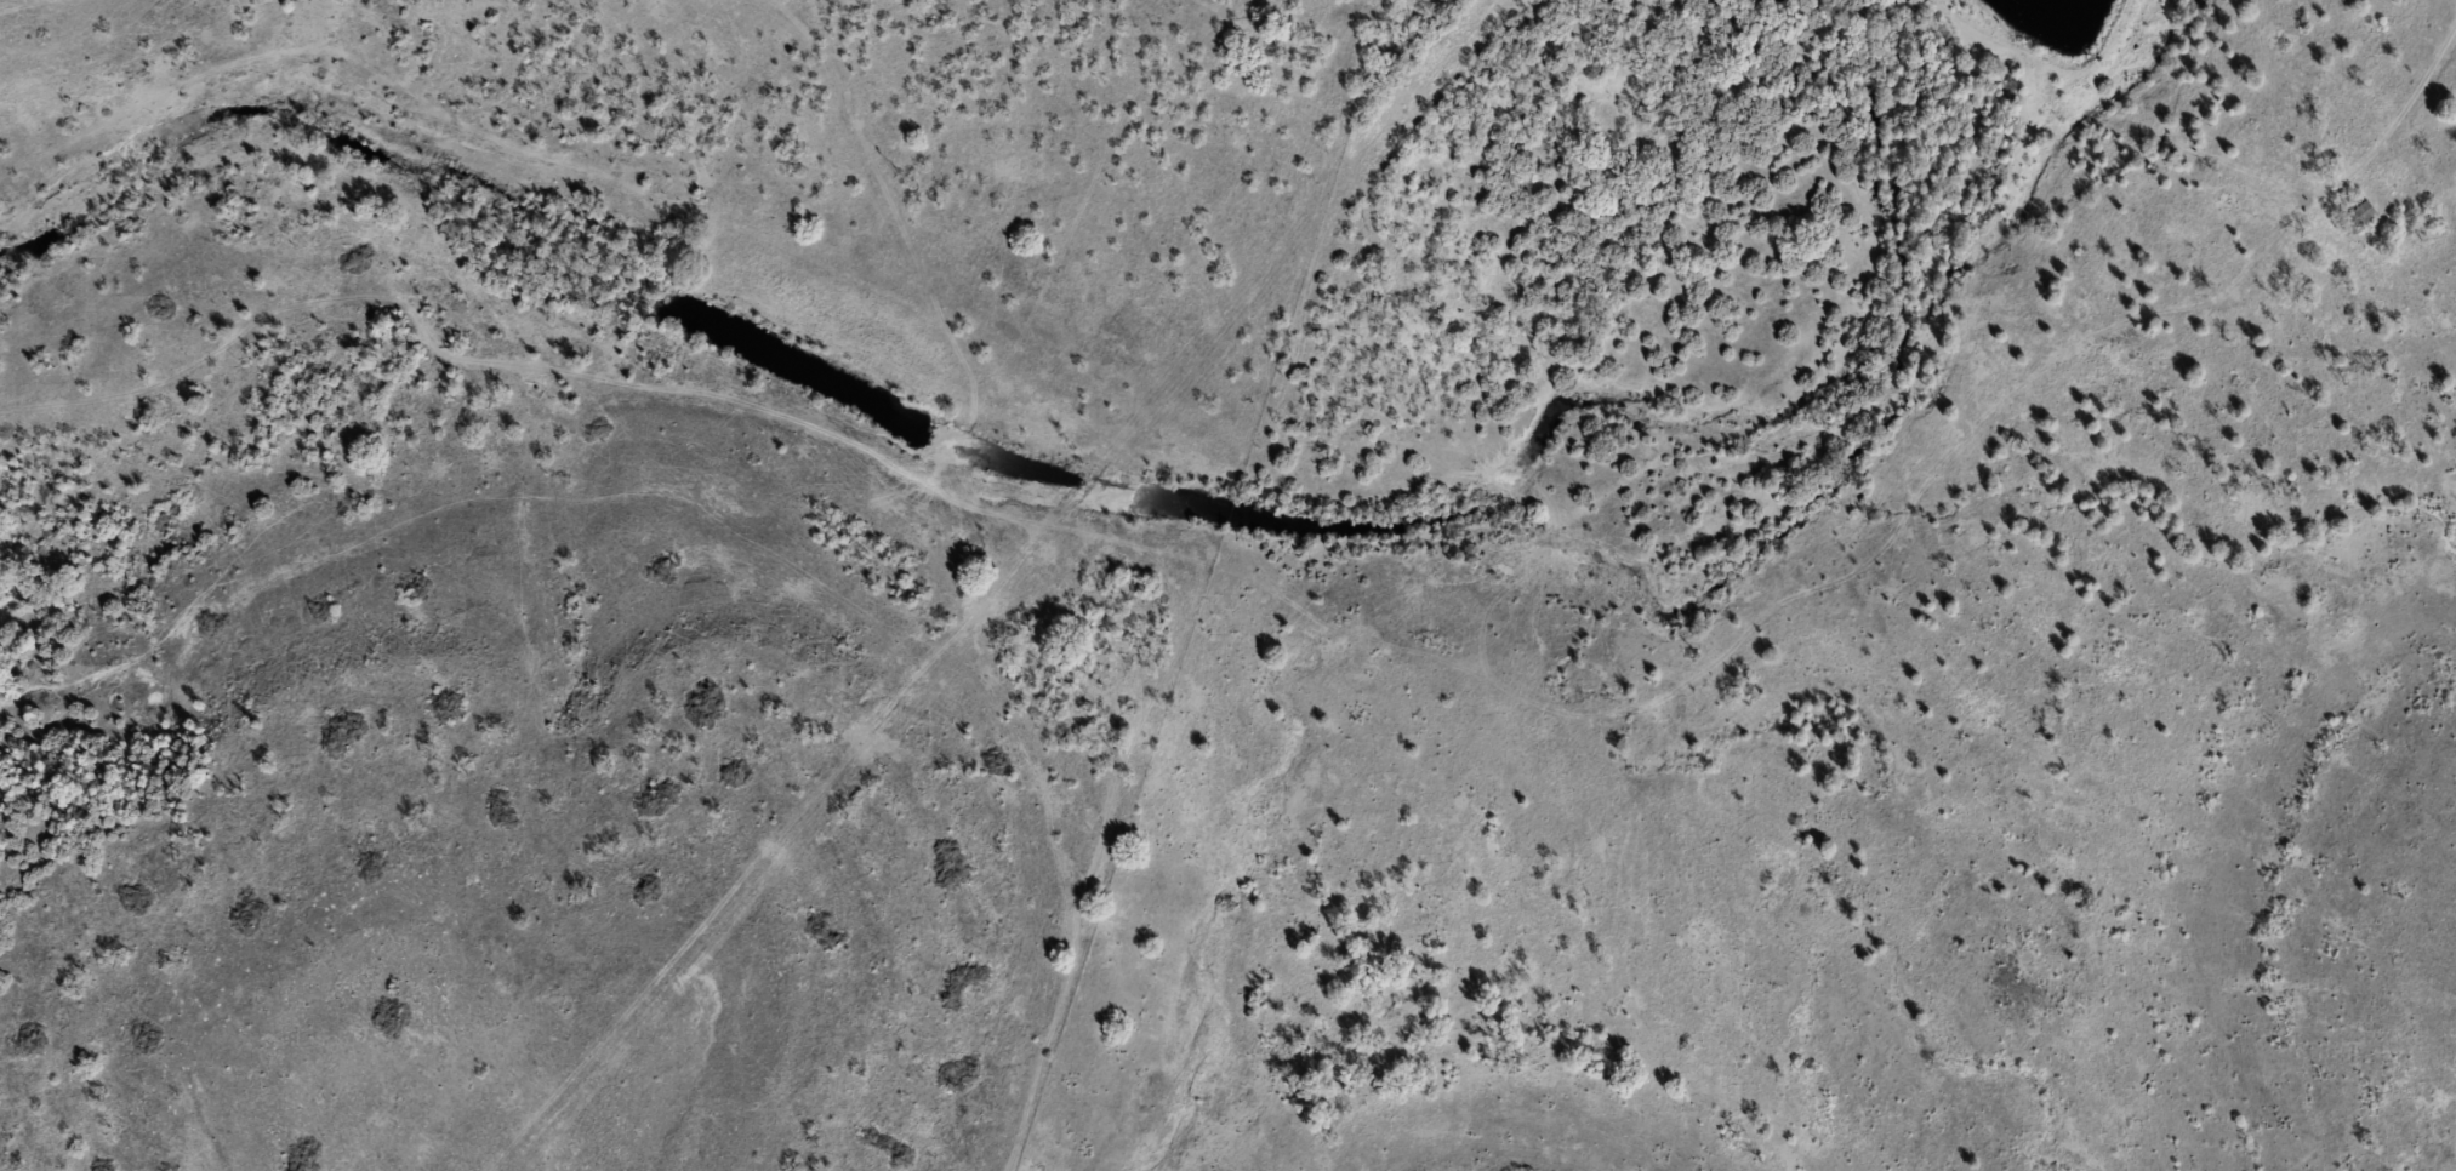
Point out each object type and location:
building: (2361, 218)

